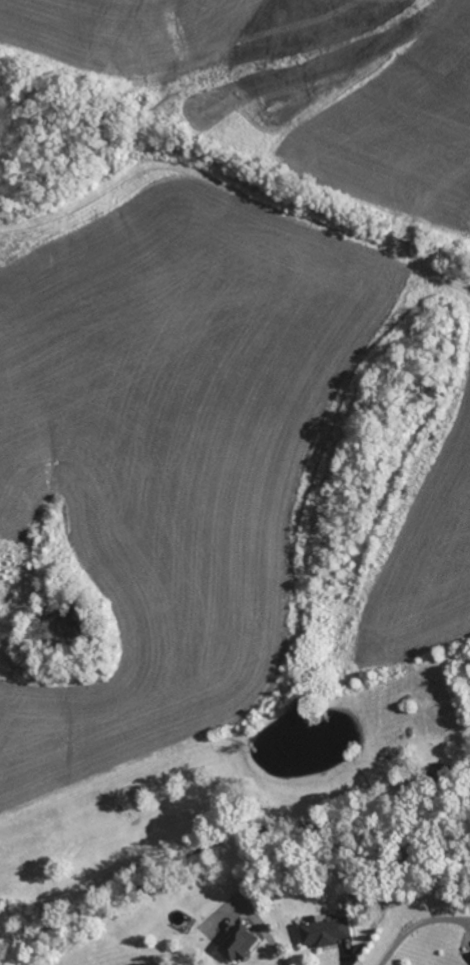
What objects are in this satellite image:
road: (418, 927)
building: (326, 929)
road: (267, 935)
building: (240, 942)

